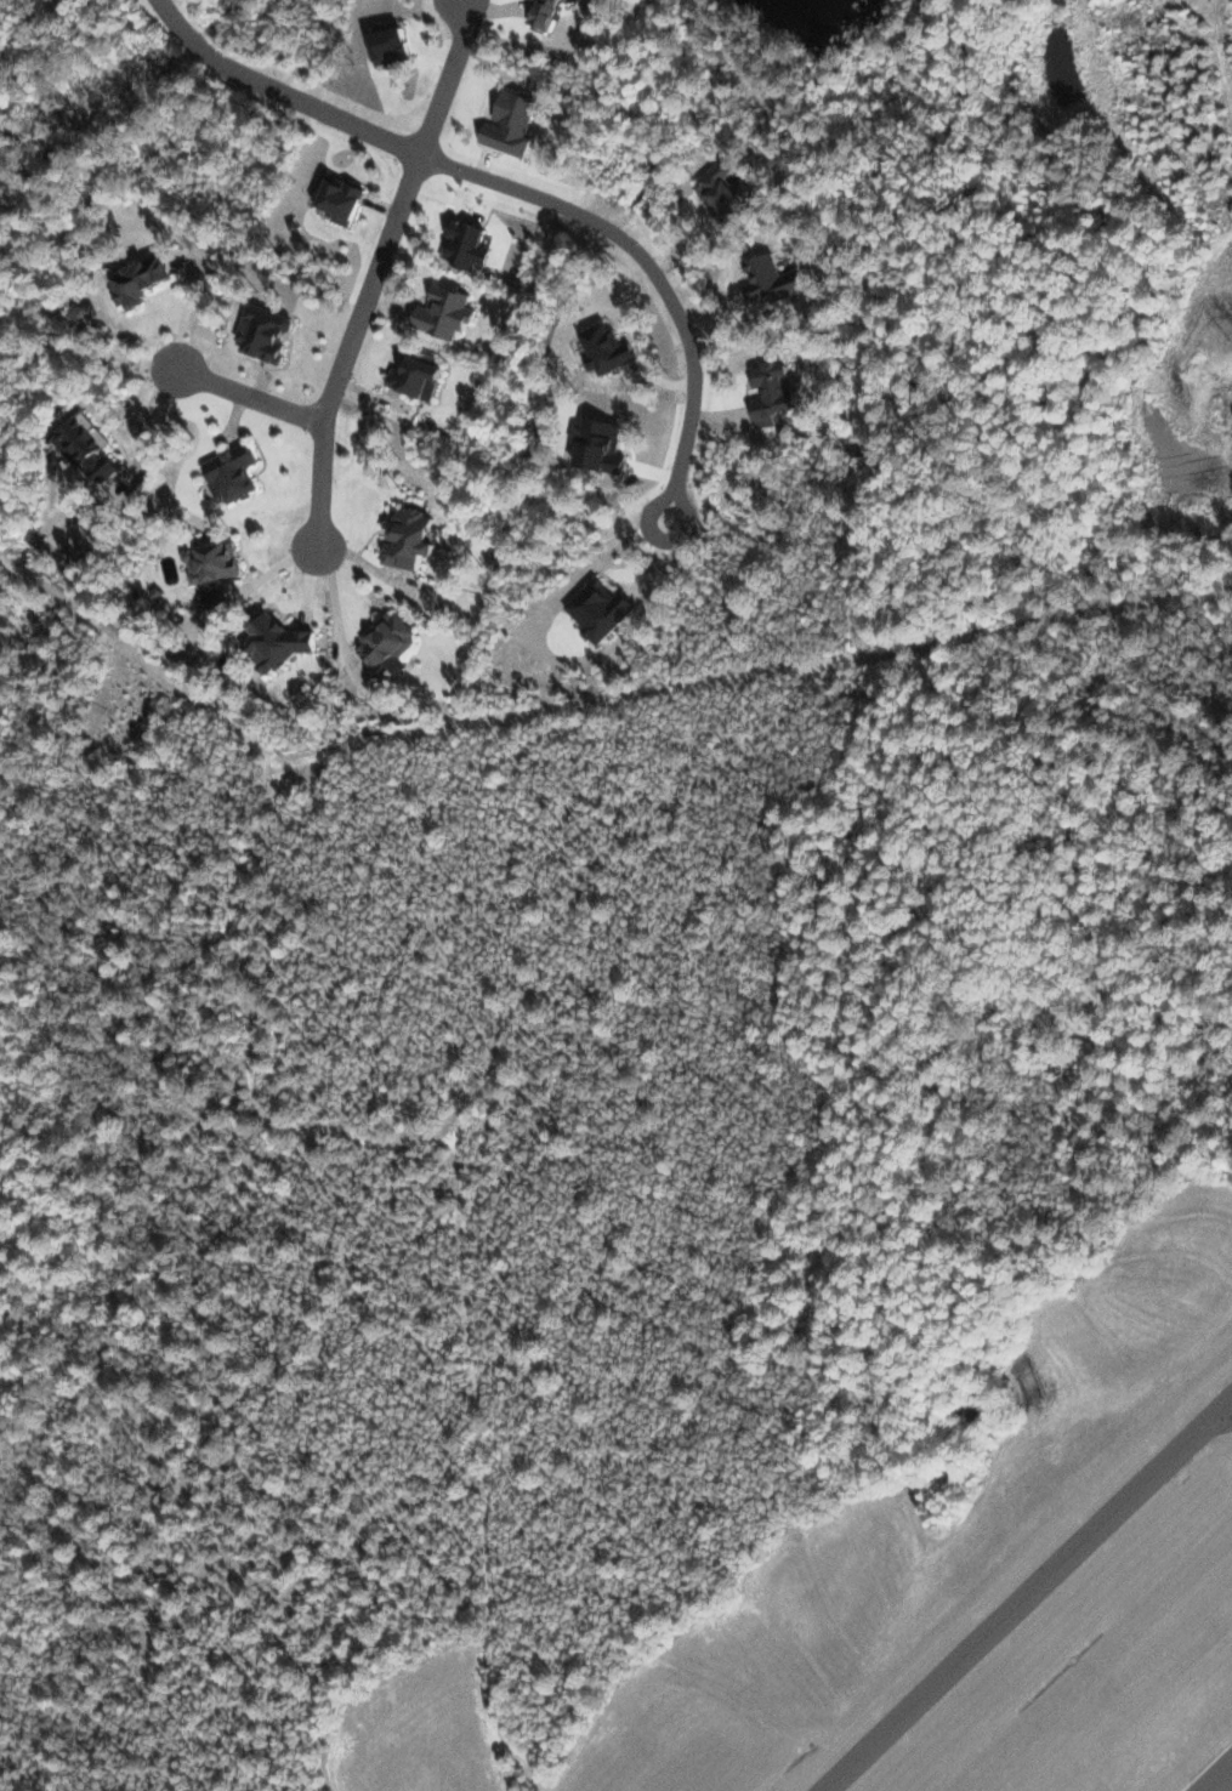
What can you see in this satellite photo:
building: (547, 12)
building: (396, 42)
road: (277, 92)
building: (513, 124)
building: (729, 191)
building: (345, 198)
road: (373, 269)
building: (774, 279)
building: (144, 280)
building: (449, 311)
road: (680, 313)
building: (269, 331)
building: (612, 347)
building: (421, 375)
building: (777, 391)
road: (246, 397)
building: (93, 445)
building: (235, 471)
building: (418, 540)
building: (217, 561)
building: (216, 596)
building: (604, 608)
building: (285, 639)
building: (392, 642)
airport taxiway: (1216, 1417)
airport taxiway: (1027, 1593)
airport: (987, 1617)

